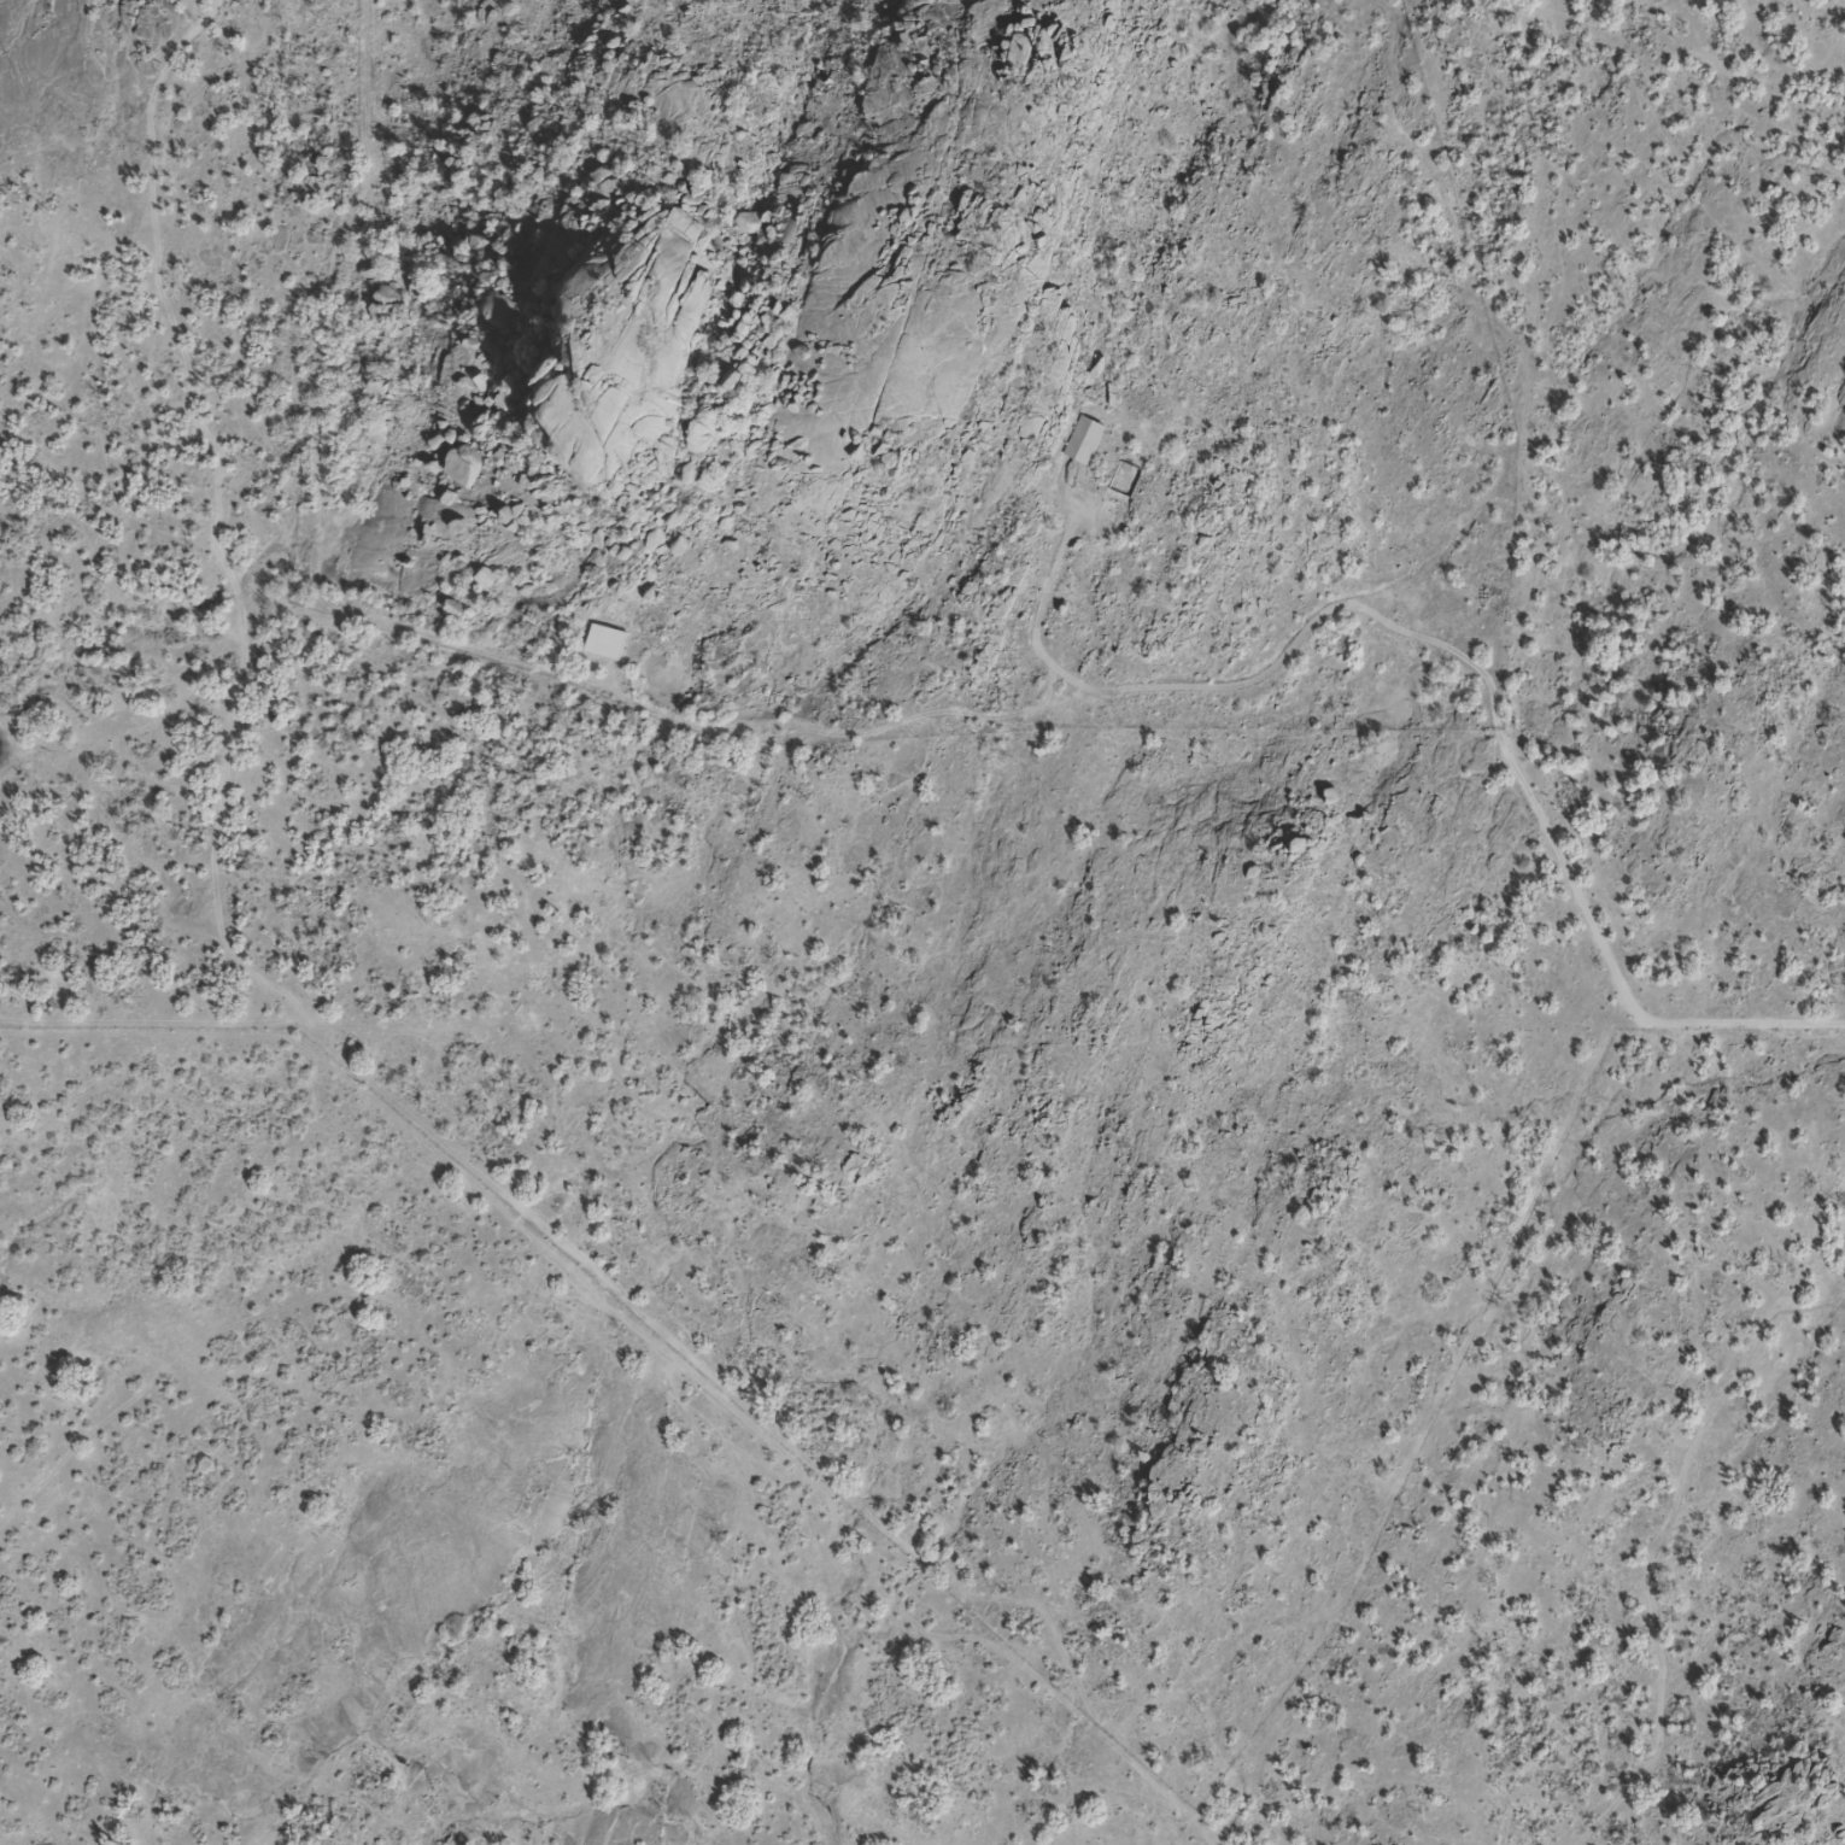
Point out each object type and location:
building: (746, 223)
building: (701, 300)
building: (736, 379)
building: (1084, 441)
building: (1125, 481)
building: (486, 578)
helipad: (1086, 623)
building: (604, 643)
road: (1495, 727)

